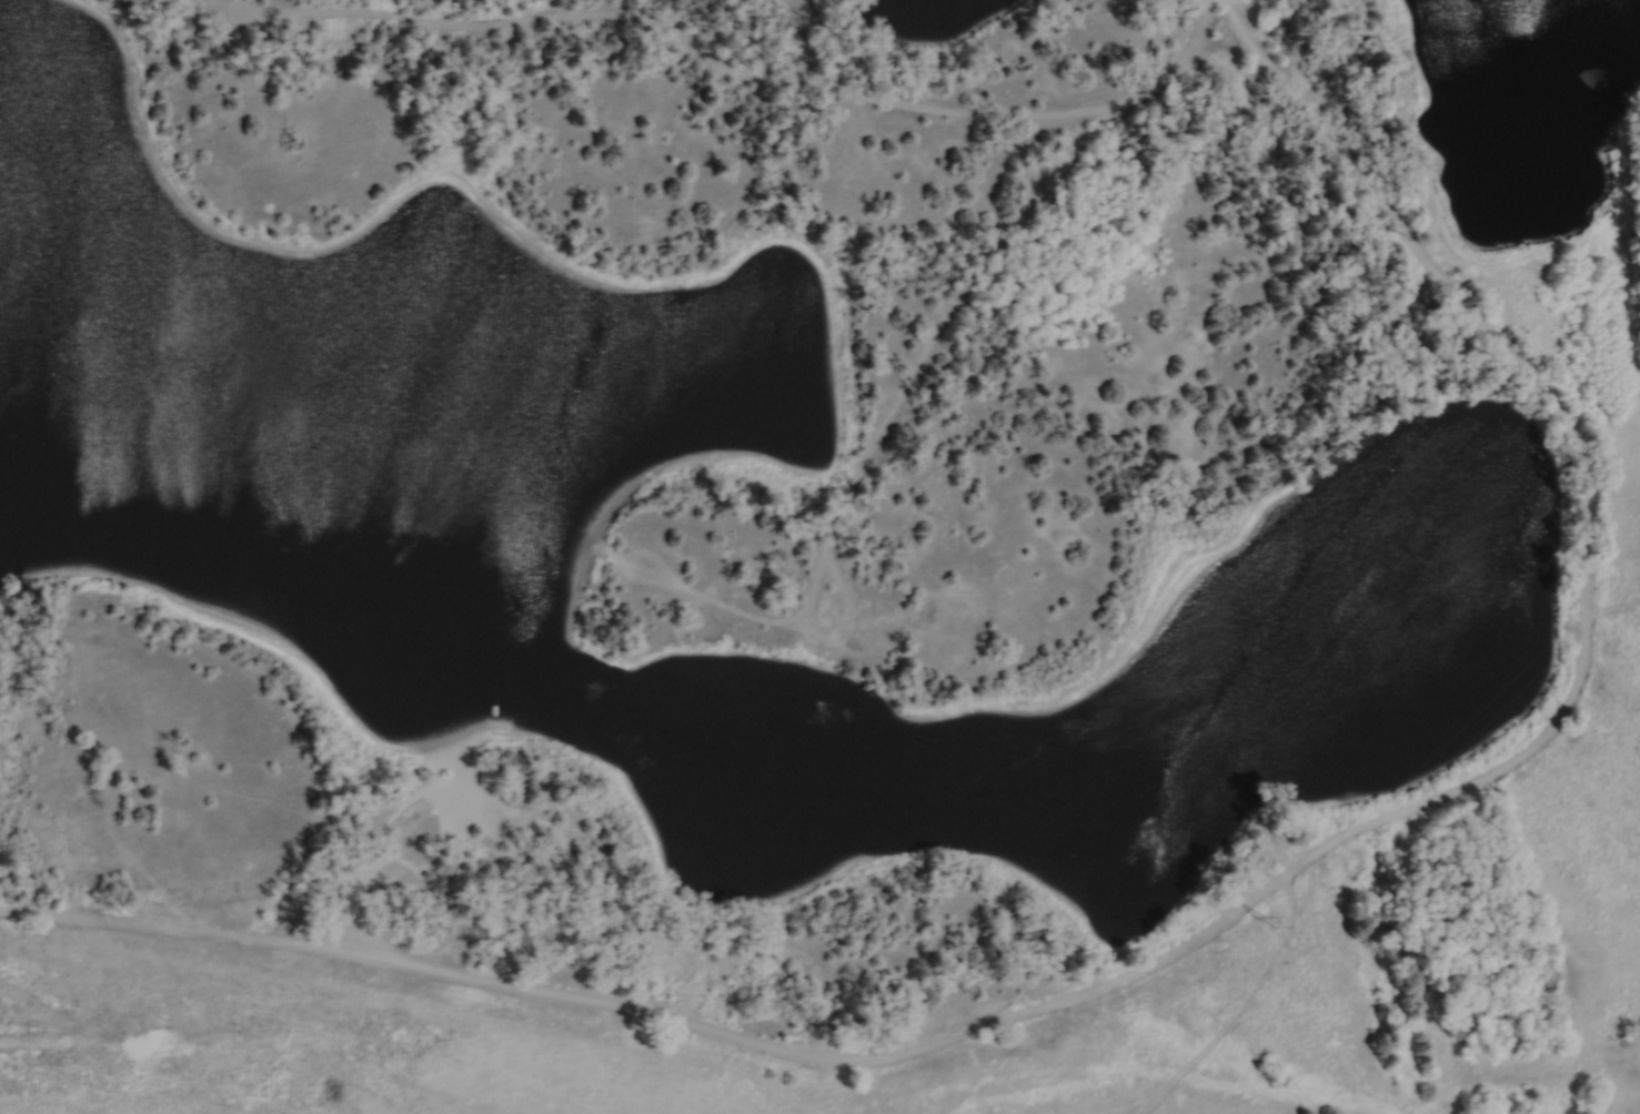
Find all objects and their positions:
power tower: (1270, 918)
road: (1215, 923)

